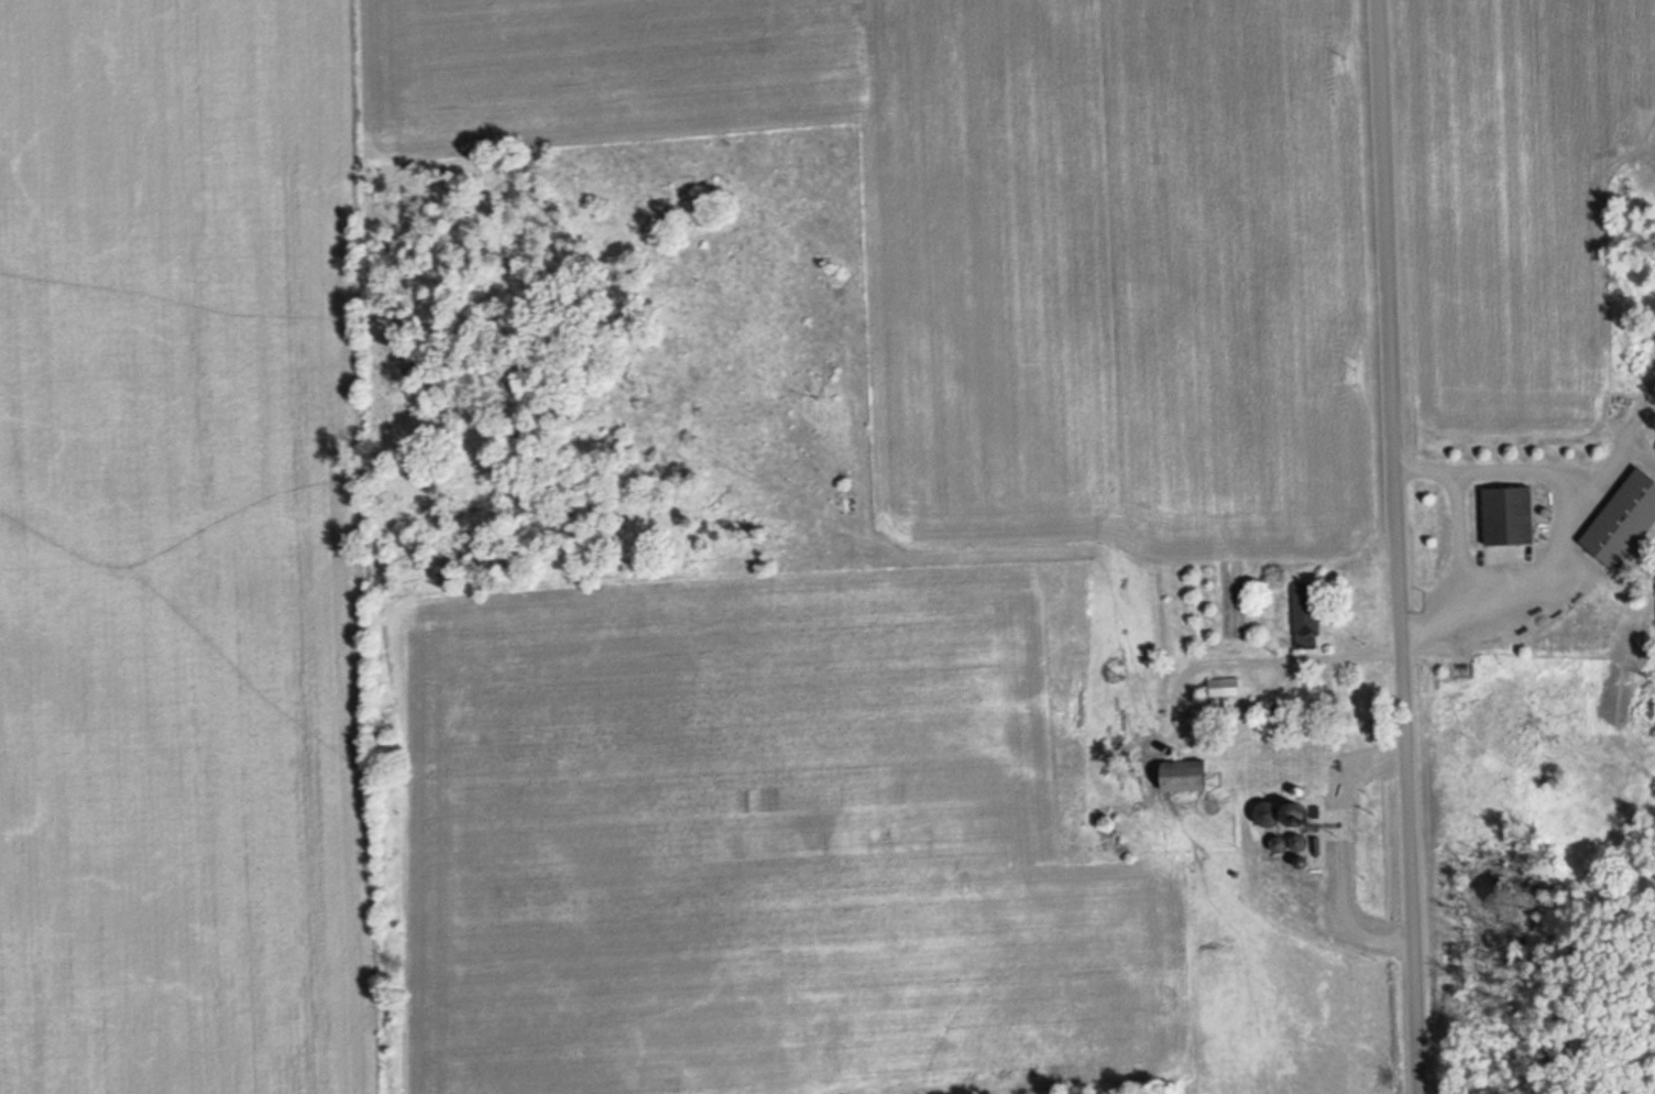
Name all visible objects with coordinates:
building: (1514, 516)
building: (1627, 522)
road: (1393, 546)
building: (1311, 615)
building: (1228, 687)
building: (1316, 694)
building: (1197, 776)
building: (1289, 814)
building: (1285, 843)
building: (1305, 843)

